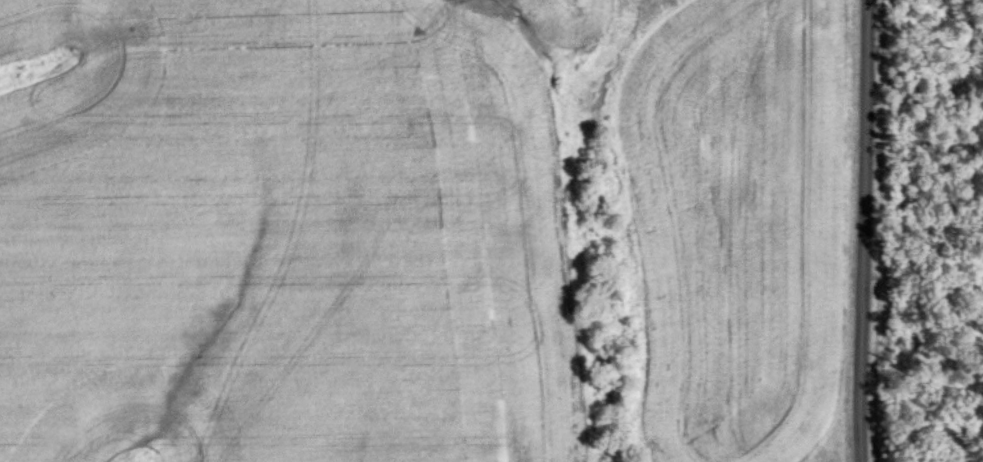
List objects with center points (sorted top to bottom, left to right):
road: (861, 231)

